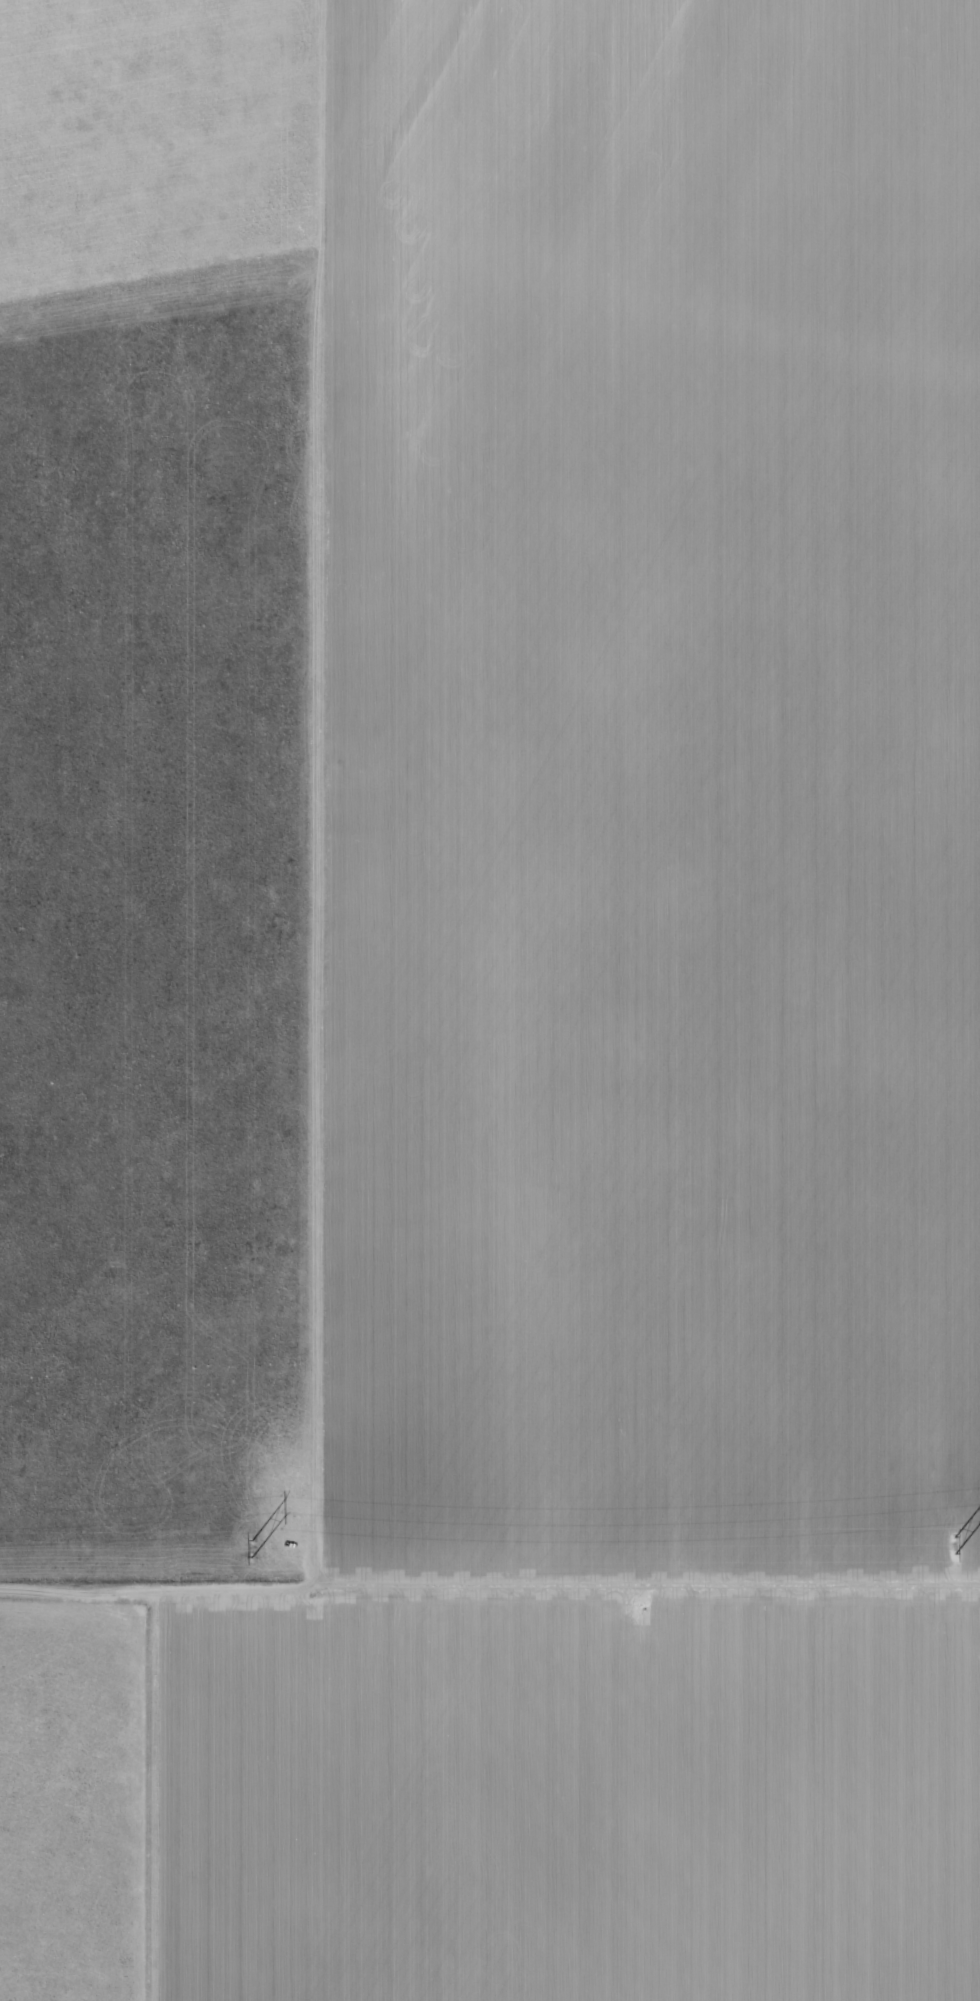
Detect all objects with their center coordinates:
power tower: (955, 1547)
power tower: (252, 1550)
road: (490, 1580)

